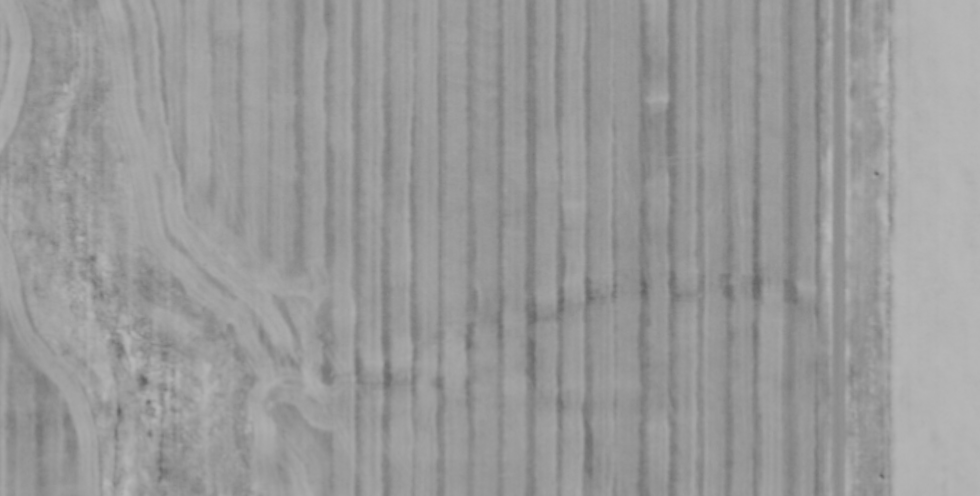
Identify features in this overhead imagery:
road: (844, 247)

